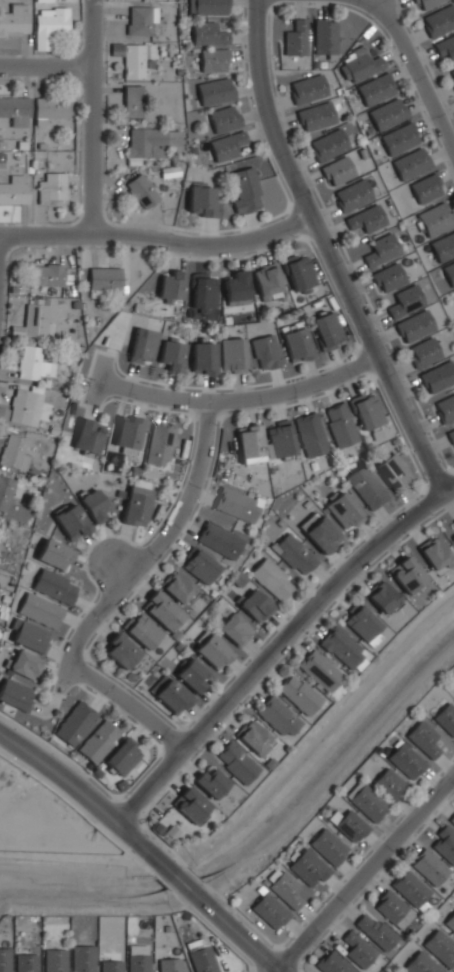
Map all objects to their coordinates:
building: (42, 0)
building: (424, 4)
building: (209, 7)
building: (14, 19)
building: (438, 19)
building: (139, 20)
building: (48, 25)
building: (206, 33)
building: (323, 36)
building: (294, 38)
building: (445, 49)
building: (129, 58)
building: (212, 60)
road: (46, 64)
building: (359, 67)
road: (415, 71)
building: (451, 75)
building: (306, 88)
building: (375, 88)
building: (214, 91)
building: (131, 100)
building: (48, 108)
building: (15, 110)
building: (387, 114)
building: (314, 115)
road: (92, 116)
building: (223, 117)
building: (399, 138)
building: (149, 140)
building: (327, 144)
building: (225, 145)
building: (410, 163)
building: (336, 170)
building: (50, 188)
building: (425, 188)
building: (14, 189)
building: (243, 189)
building: (140, 190)
building: (350, 195)
building: (201, 202)
building: (365, 218)
building: (435, 218)
road: (45, 232)
road: (203, 244)
building: (442, 246)
building: (379, 249)
road: (329, 251)
building: (298, 271)
building: (449, 272)
building: (46, 276)
building: (386, 277)
building: (103, 279)
building: (266, 279)
building: (171, 286)
building: (234, 287)
building: (453, 291)
building: (203, 293)
building: (404, 301)
building: (32, 322)
building: (119, 325)
building: (413, 326)
building: (326, 330)
building: (296, 344)
building: (142, 346)
road: (116, 348)
building: (265, 351)
building: (422, 352)
building: (231, 355)
building: (171, 356)
building: (202, 358)
road: (93, 359)
building: (32, 364)
road: (130, 376)
road: (132, 376)
building: (438, 376)
road: (113, 398)
road: (193, 399)
road: (139, 402)
road: (139, 405)
building: (19, 406)
road: (89, 407)
road: (90, 407)
building: (446, 408)
building: (365, 410)
building: (339, 424)
road: (115, 427)
building: (128, 433)
building: (309, 434)
building: (451, 435)
building: (86, 437)
building: (280, 440)
building: (159, 444)
building: (248, 444)
building: (12, 450)
building: (38, 472)
building: (392, 472)
building: (367, 487)
building: (5, 492)
building: (235, 504)
building: (94, 506)
building: (134, 506)
building: (343, 511)
building: (70, 521)
building: (453, 521)
building: (319, 533)
building: (452, 537)
building: (218, 540)
road: (160, 541)
building: (435, 553)
building: (53, 554)
building: (294, 554)
building: (199, 566)
building: (406, 574)
building: (271, 579)
building: (53, 587)
building: (177, 589)
building: (382, 597)
building: (254, 606)
building: (39, 610)
building: (161, 611)
building: (363, 625)
building: (233, 628)
building: (141, 632)
building: (29, 636)
road: (278, 645)
building: (341, 646)
building: (212, 651)
building: (119, 652)
road: (57, 655)
building: (26, 665)
road: (54, 670)
building: (319, 671)
building: (192, 675)
road: (57, 693)
building: (15, 694)
building: (298, 694)
building: (170, 696)
road: (99, 698)
road: (125, 703)
road: (118, 712)
building: (278, 716)
building: (446, 718)
building: (74, 724)
road: (140, 729)
building: (254, 737)
road: (169, 738)
building: (422, 738)
building: (98, 742)
building: (122, 756)
building: (406, 761)
building: (236, 762)
road: (60, 775)
road: (93, 778)
building: (210, 782)
building: (389, 784)
road: (259, 801)
building: (366, 801)
building: (191, 805)
road: (73, 807)
road: (127, 810)
building: (452, 819)
building: (349, 825)
road: (142, 843)
building: (444, 844)
building: (327, 846)
road: (178, 859)
building: (308, 867)
building: (428, 867)
road: (147, 870)
road: (365, 874)
road: (175, 876)
building: (283, 887)
building: (409, 888)
building: (388, 907)
building: (269, 911)
building: (450, 921)
road: (230, 929)
building: (374, 931)
building: (439, 947)
building: (357, 950)
building: (81, 958)
building: (4, 960)
building: (201, 960)
building: (53, 961)
building: (25, 963)
building: (137, 963)
building: (330, 963)
building: (419, 964)
building: (169, 965)
building: (109, 966)

